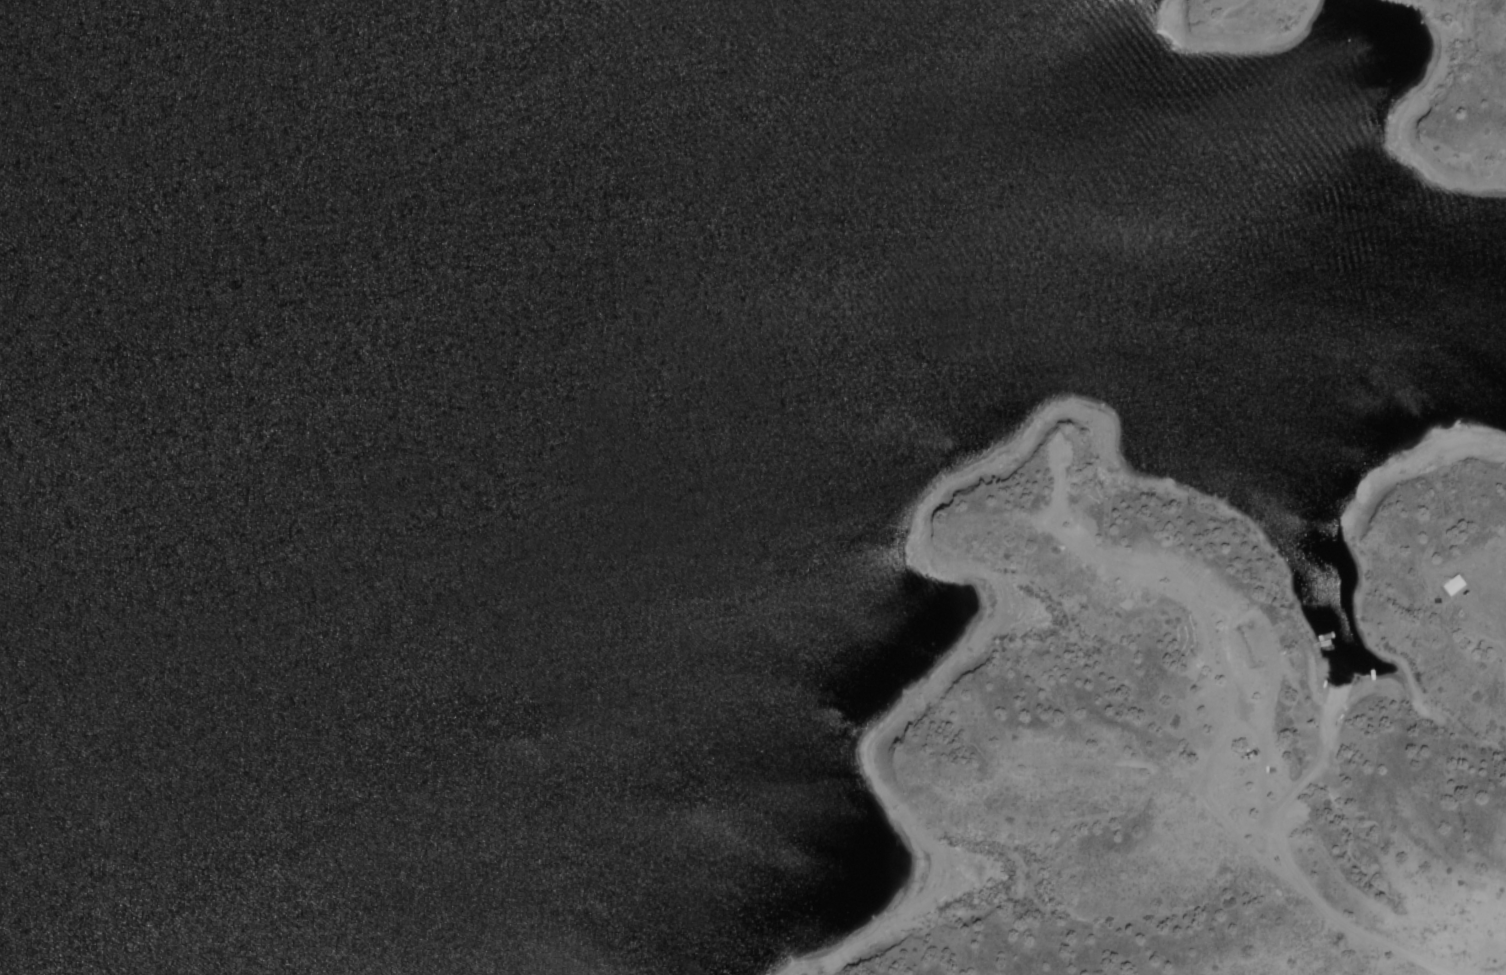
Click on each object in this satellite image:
building: (1452, 586)
road: (1493, 623)

